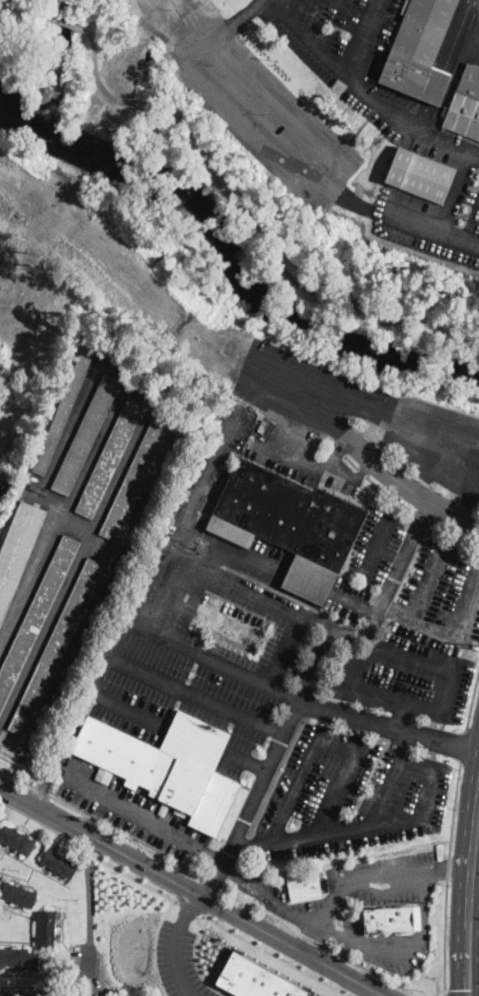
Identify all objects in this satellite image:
road: (277, 2)
road: (27, 8)
road: (312, 18)
road: (68, 24)
road: (224, 29)
parking lot: (474, 31)
road: (458, 36)
road: (362, 40)
building: (419, 51)
parking lot: (348, 52)
road: (366, 94)
building: (464, 105)
parking lot: (264, 111)
road: (290, 113)
road: (238, 125)
park: (161, 155)
building: (419, 175)
road: (454, 194)
road: (467, 196)
road: (274, 197)
parking lot: (433, 217)
road: (255, 218)
road: (419, 227)
park: (392, 326)
building: (65, 407)
building: (86, 435)
road: (365, 453)
building: (110, 458)
road: (207, 476)
building: (134, 481)
building: (2, 487)
road: (419, 515)
building: (289, 524)
building: (17, 550)
road: (266, 596)
road: (342, 597)
road: (200, 604)
building: (36, 616)
building: (55, 648)
road: (211, 657)
road: (316, 662)
road: (194, 693)
road: (105, 697)
road: (303, 699)
road: (472, 702)
road: (444, 710)
road: (398, 712)
road: (462, 745)
road: (60, 746)
building: (168, 766)
road: (391, 776)
road: (338, 788)
parking lot: (347, 796)
road: (451, 809)
parking lot: (131, 810)
road: (136, 813)
road: (313, 837)
building: (16, 840)
road: (249, 845)
road: (88, 848)
building: (59, 864)
road: (446, 866)
road: (452, 870)
road: (213, 878)
road: (209, 882)
building: (304, 885)
road: (474, 886)
road: (191, 890)
road: (90, 892)
building: (17, 895)
road: (470, 897)
road: (188, 907)
road: (335, 916)
building: (416, 917)
building: (388, 920)
building: (46, 928)
road: (443, 937)
road: (474, 943)
road: (174, 944)
road: (409, 947)
road: (276, 955)
building: (18, 958)
parking lot: (179, 962)
road: (196, 963)
road: (91, 966)
building: (256, 978)
road: (460, 991)
building: (41, 994)
road: (443, 994)
building: (4, 995)

